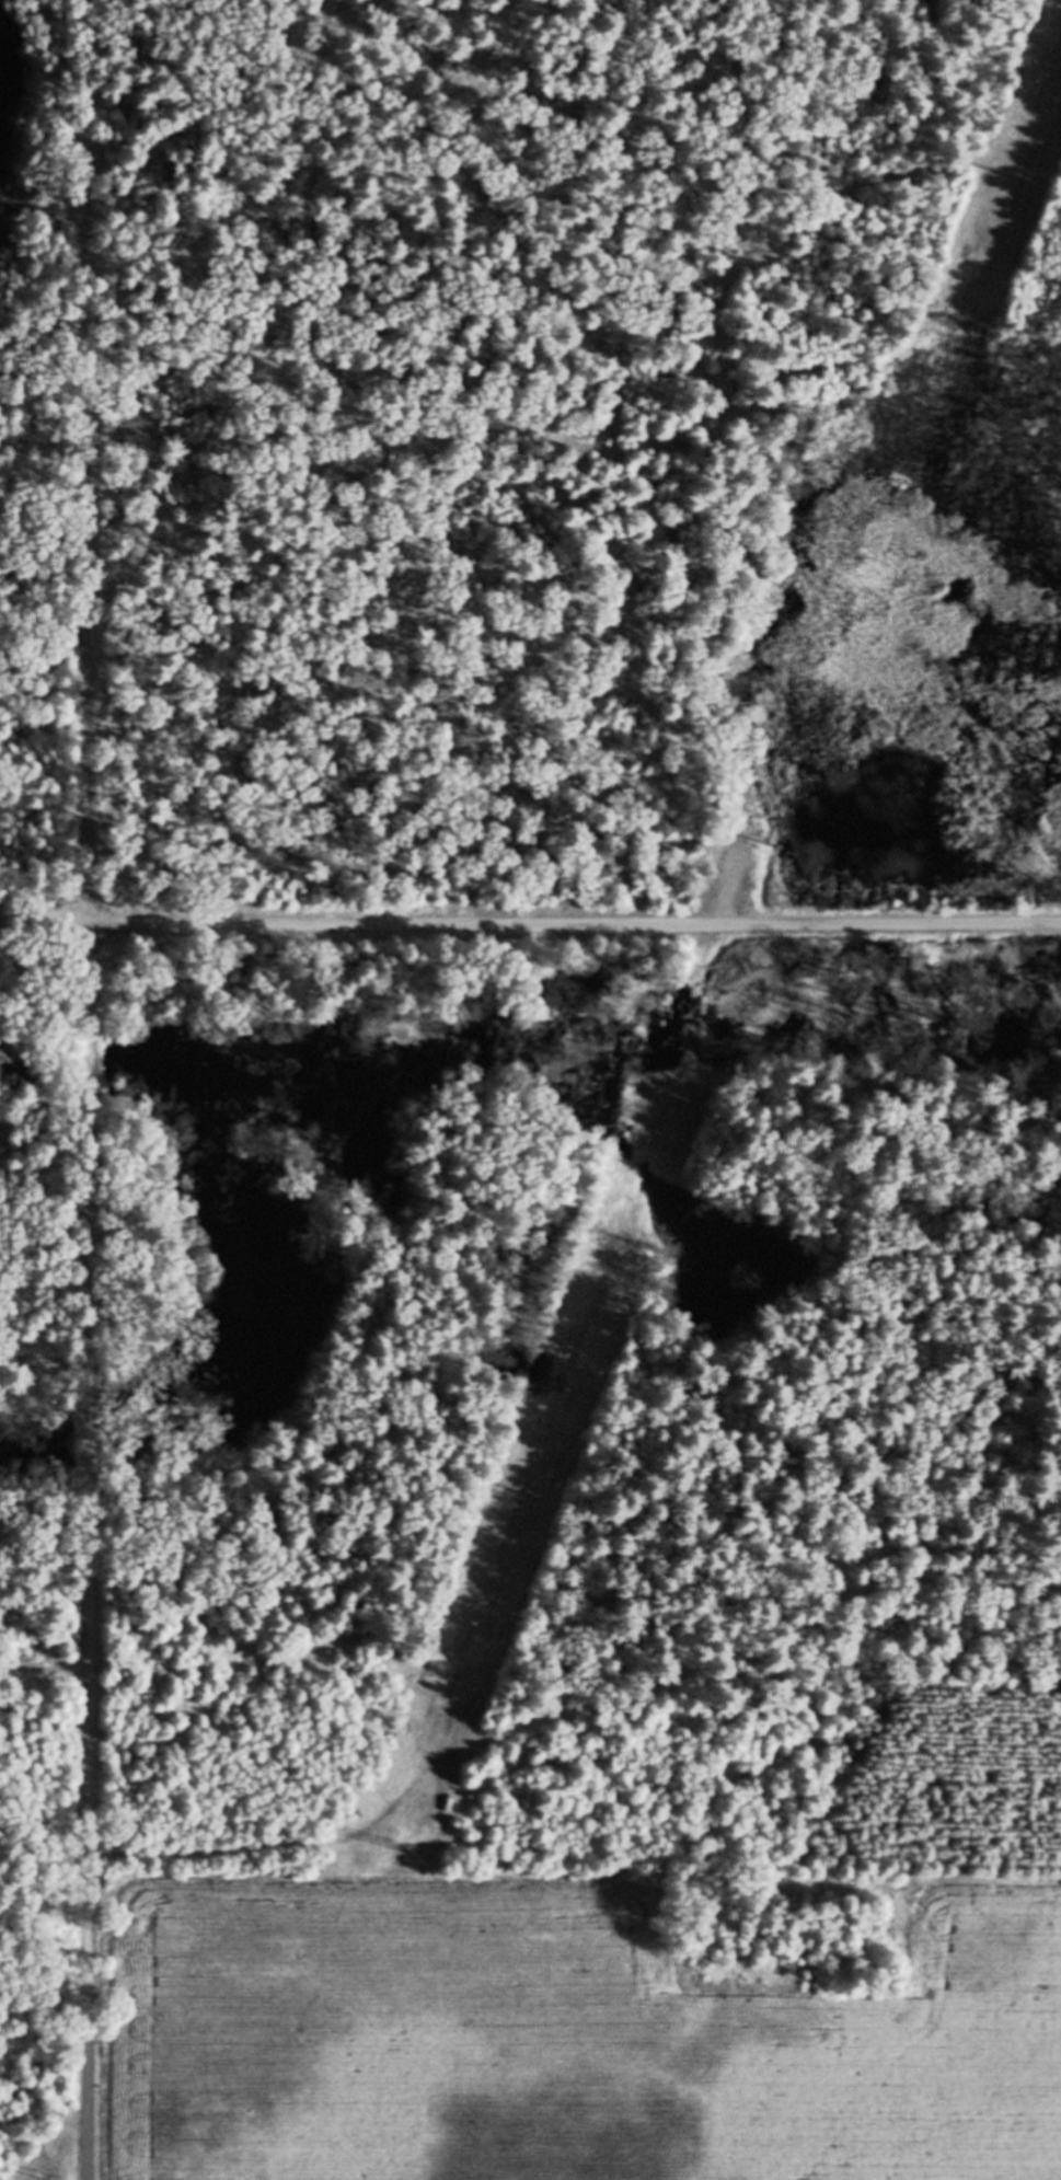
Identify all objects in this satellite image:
power tower: (1010, 169)
road: (530, 919)
power tower: (668, 1092)
road: (92, 1160)
power tower: (532, 1497)
power tower: (381, 1833)
power tower: (46, 2173)

